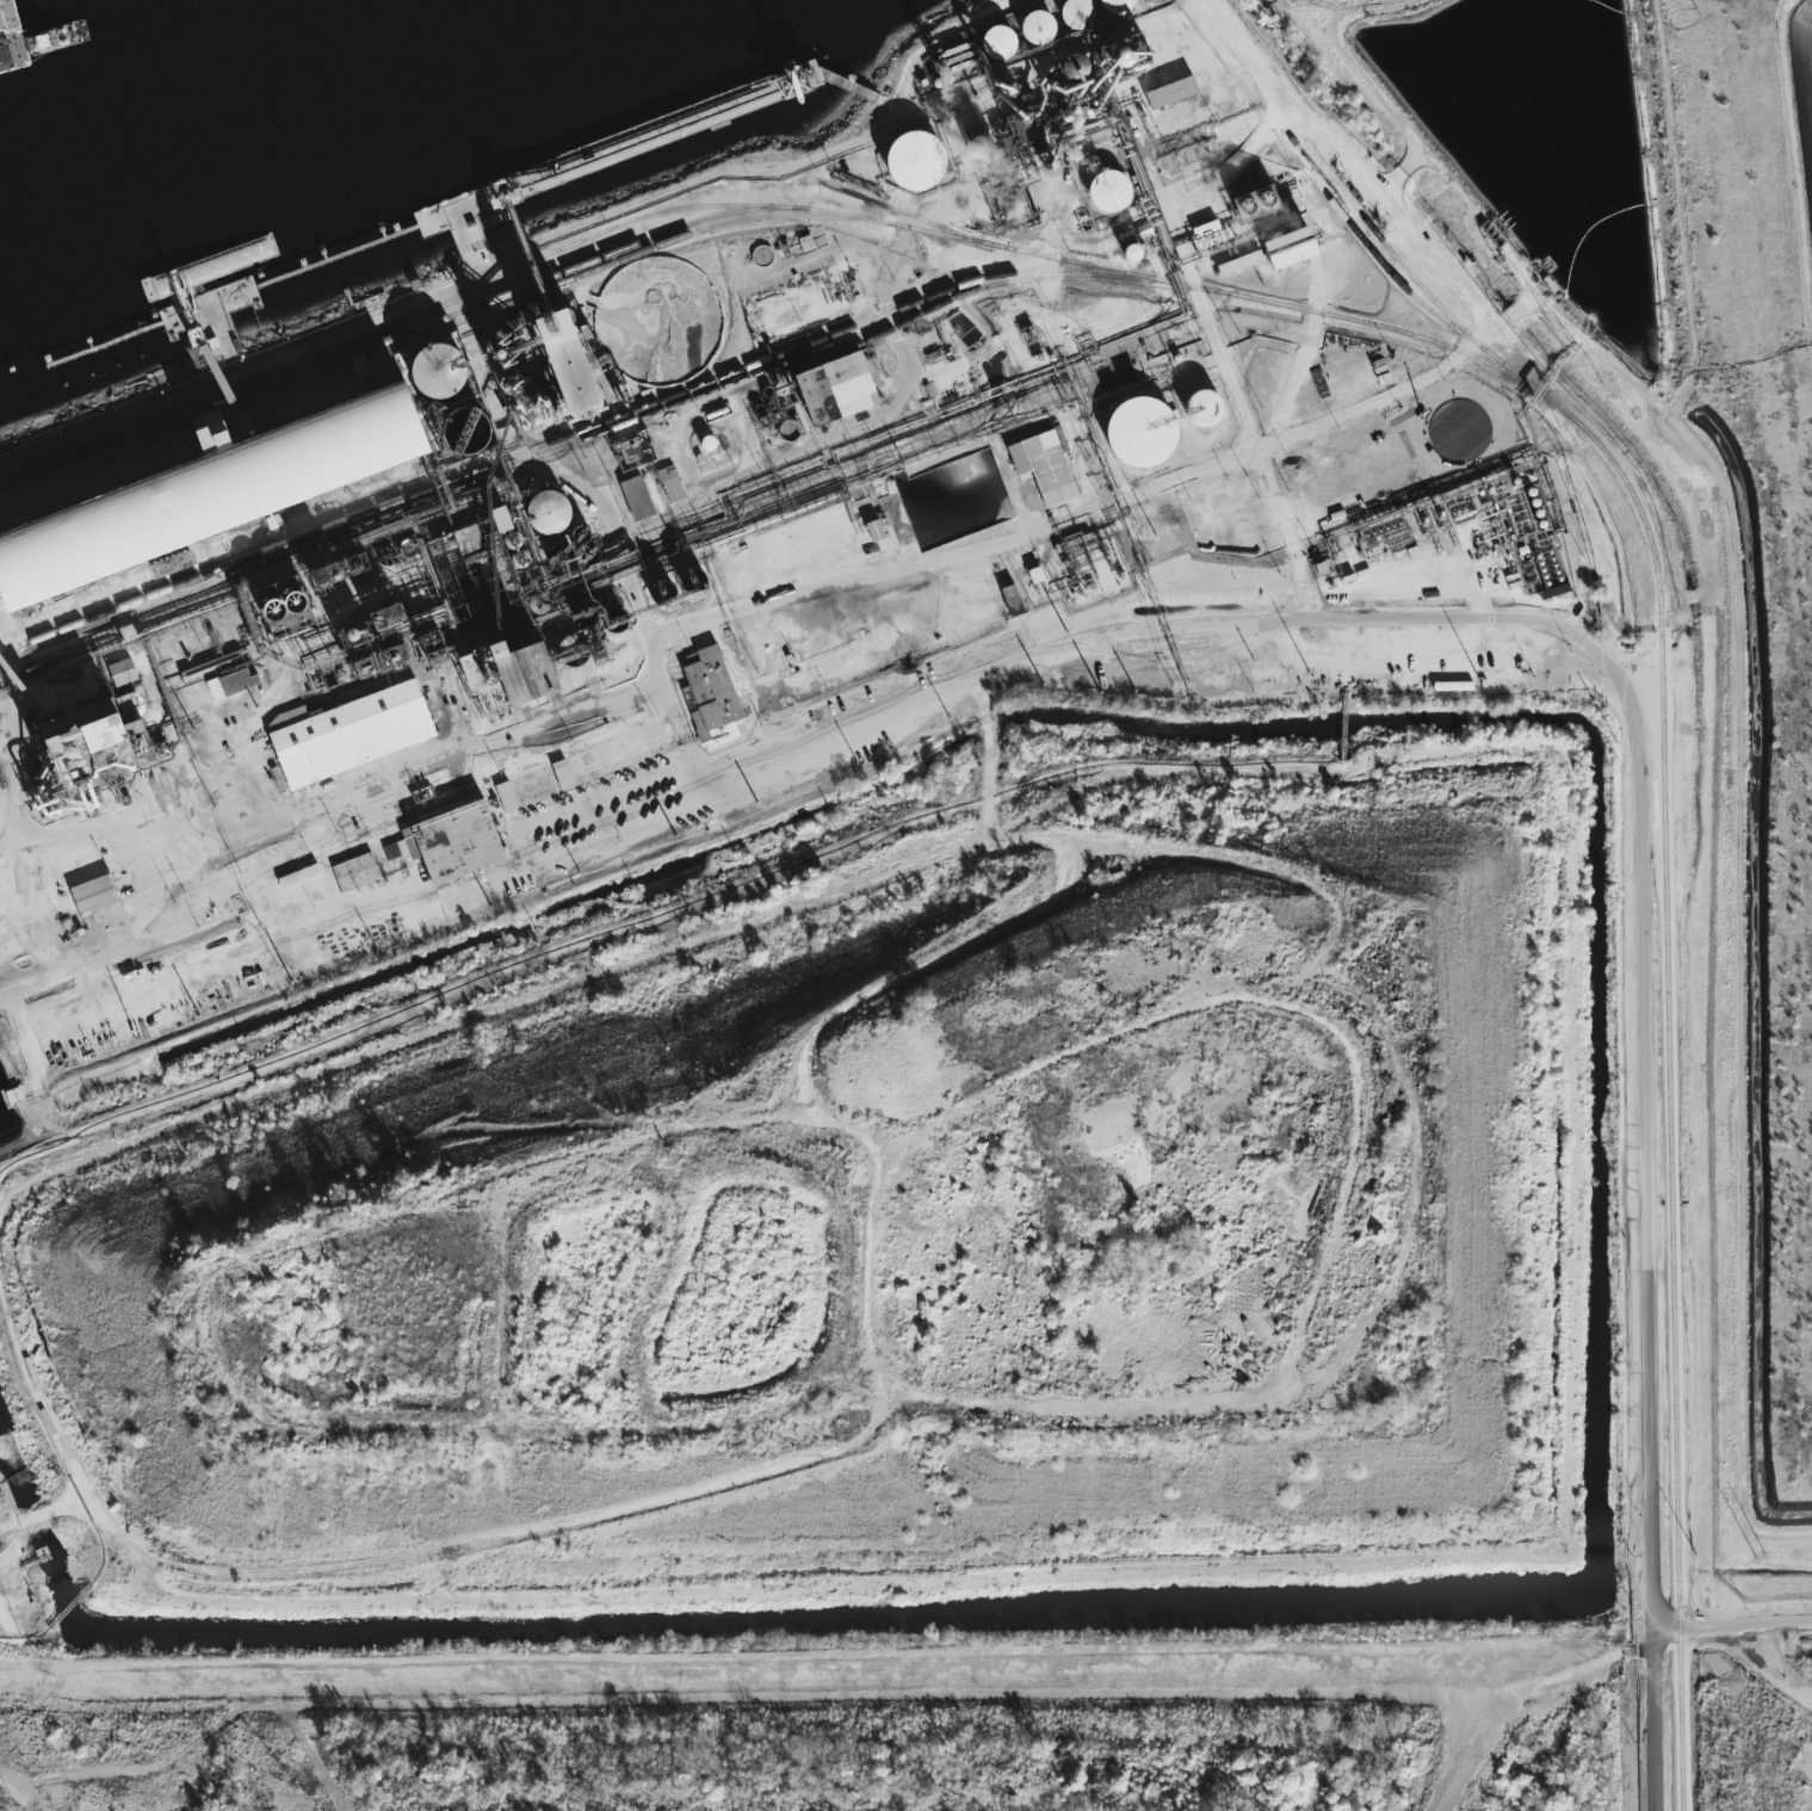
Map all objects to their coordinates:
building: (1123, 6)
building: (1083, 13)
building: (1044, 25)
building: (1004, 41)
river: (198, 84)
building: (1175, 92)
building: (923, 160)
building: (1117, 191)
railway: (765, 208)
railway: (910, 216)
building: (1208, 230)
building: (1300, 248)
road: (531, 249)
railway: (1397, 260)
building: (1245, 262)
railway: (1387, 271)
railway: (401, 325)
railway: (441, 328)
railway: (862, 340)
building: (445, 372)
road: (1227, 373)
building: (593, 375)
building: (843, 389)
railway: (606, 431)
railway: (570, 432)
building: (1145, 432)
railway: (555, 445)
building: (1046, 466)
road: (1208, 468)
building: (672, 483)
building: (212, 492)
building: (638, 497)
building: (555, 513)
road: (1285, 532)
building: (1013, 600)
road: (1480, 601)
road: (1244, 625)
railway: (122, 631)
building: (125, 672)
building: (542, 673)
building: (490, 674)
building: (1454, 686)
building: (711, 692)
building: (353, 733)
building: (106, 734)
building: (564, 774)
road: (347, 796)
building: (507, 797)
road: (582, 802)
building: (454, 843)
road: (1236, 867)
building: (357, 873)
building: (95, 895)
road: (488, 1020)
railway: (1668, 1088)
road: (1418, 1174)
road: (1068, 1411)
road: (55, 1442)
road: (1733, 1627)
road: (1769, 1667)
road: (1514, 1686)
road: (752, 1691)

